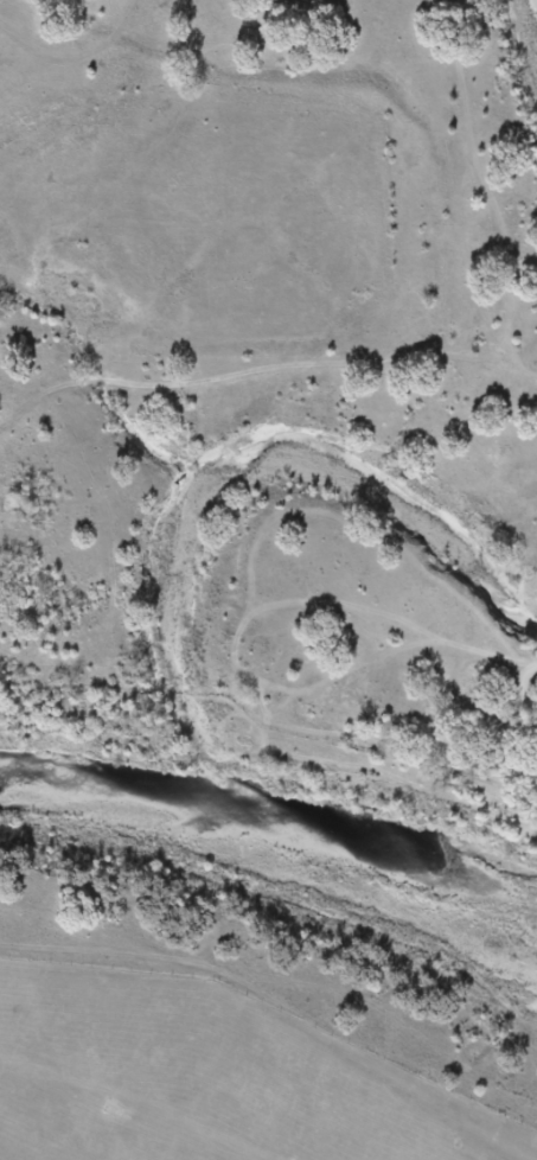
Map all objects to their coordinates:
river: (269, 824)

